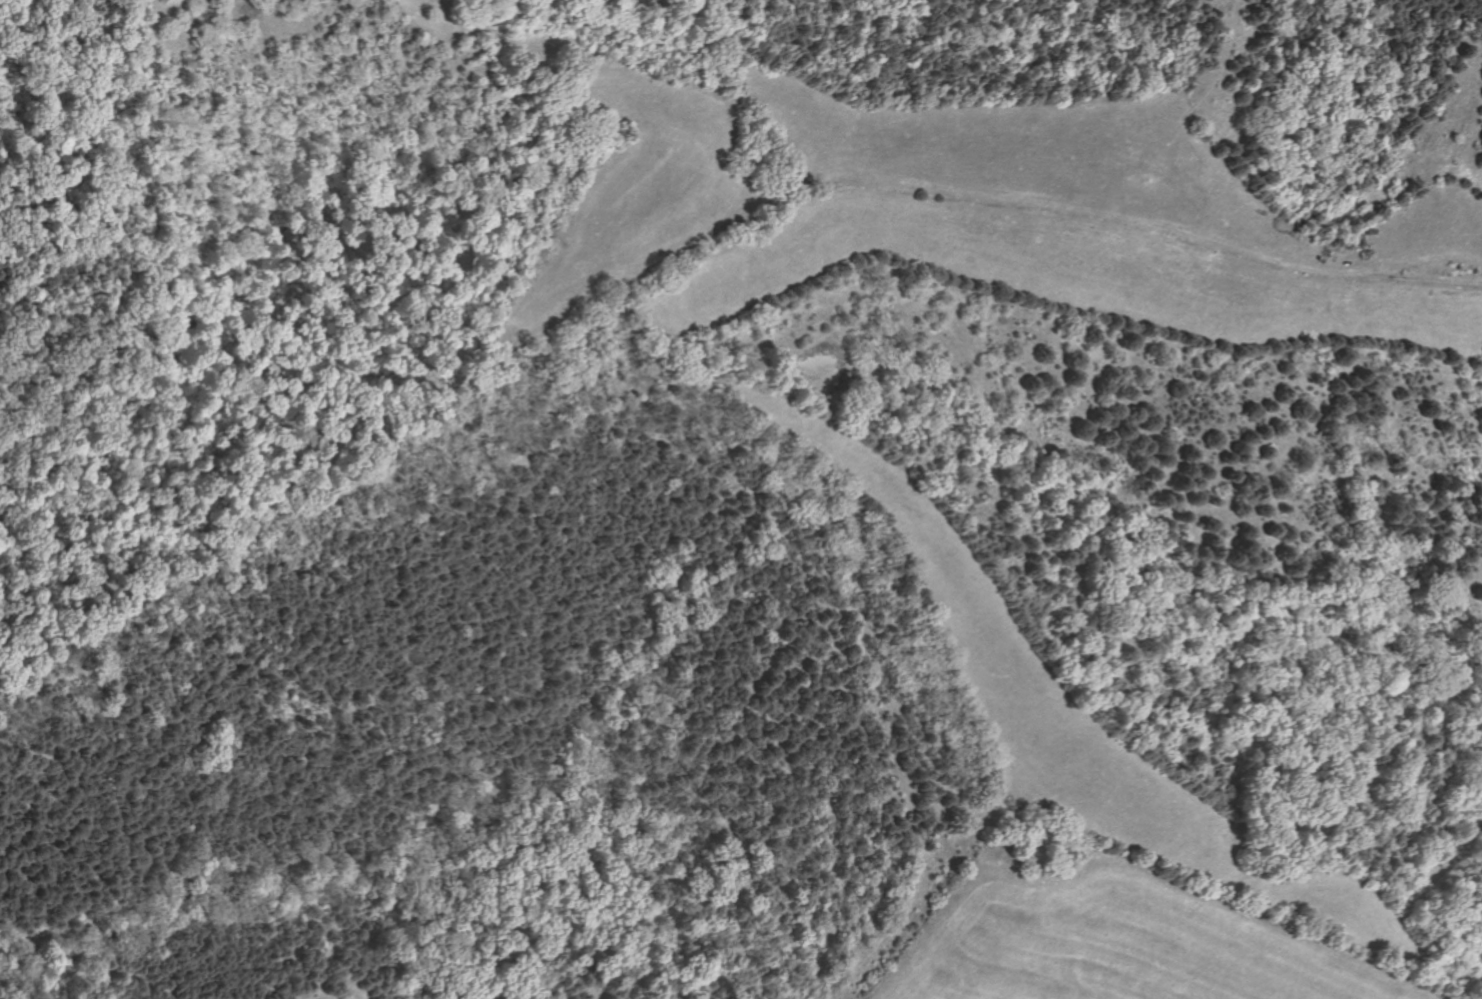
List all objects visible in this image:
road: (1124, 227)

